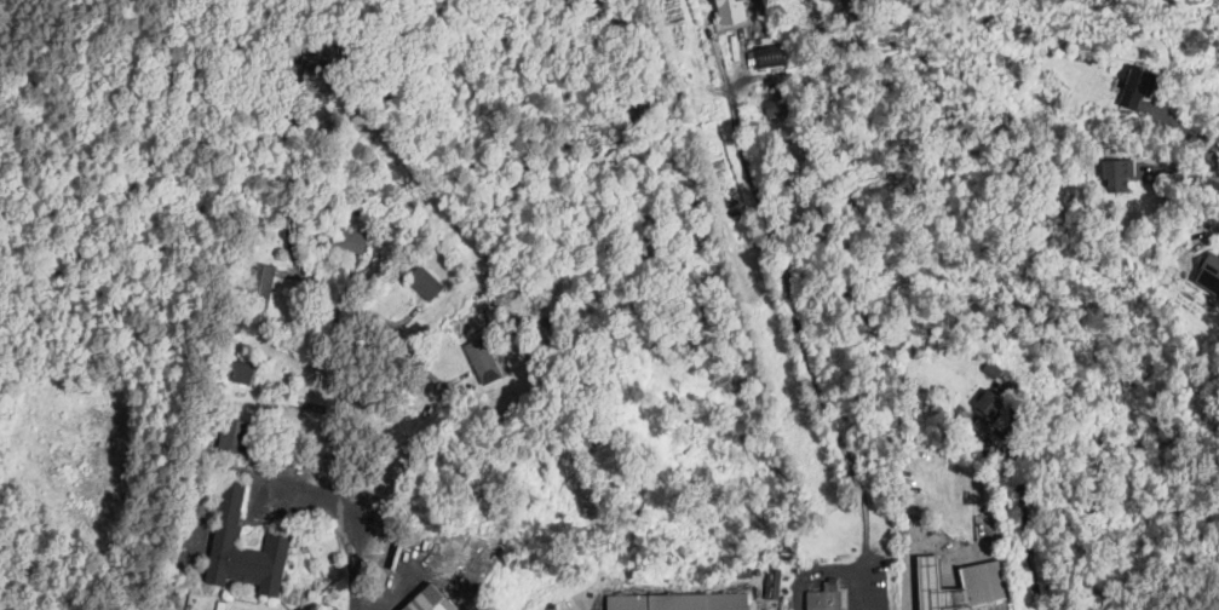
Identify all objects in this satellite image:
building: (728, 11)
building: (767, 52)
building: (1134, 87)
building: (781, 100)
road: (1180, 172)
building: (1117, 173)
road: (292, 197)
building: (1209, 272)
building: (263, 281)
building: (425, 282)
road: (391, 336)
road: (804, 350)
building: (482, 359)
building: (243, 369)
road: (343, 385)
building: (990, 404)
building: (229, 432)
road: (206, 464)
road: (1027, 520)
road: (346, 529)
building: (243, 548)
building: (449, 559)
building: (982, 579)
gas station: (982, 579)
building: (427, 600)
building: (821, 600)
building: (679, 602)

